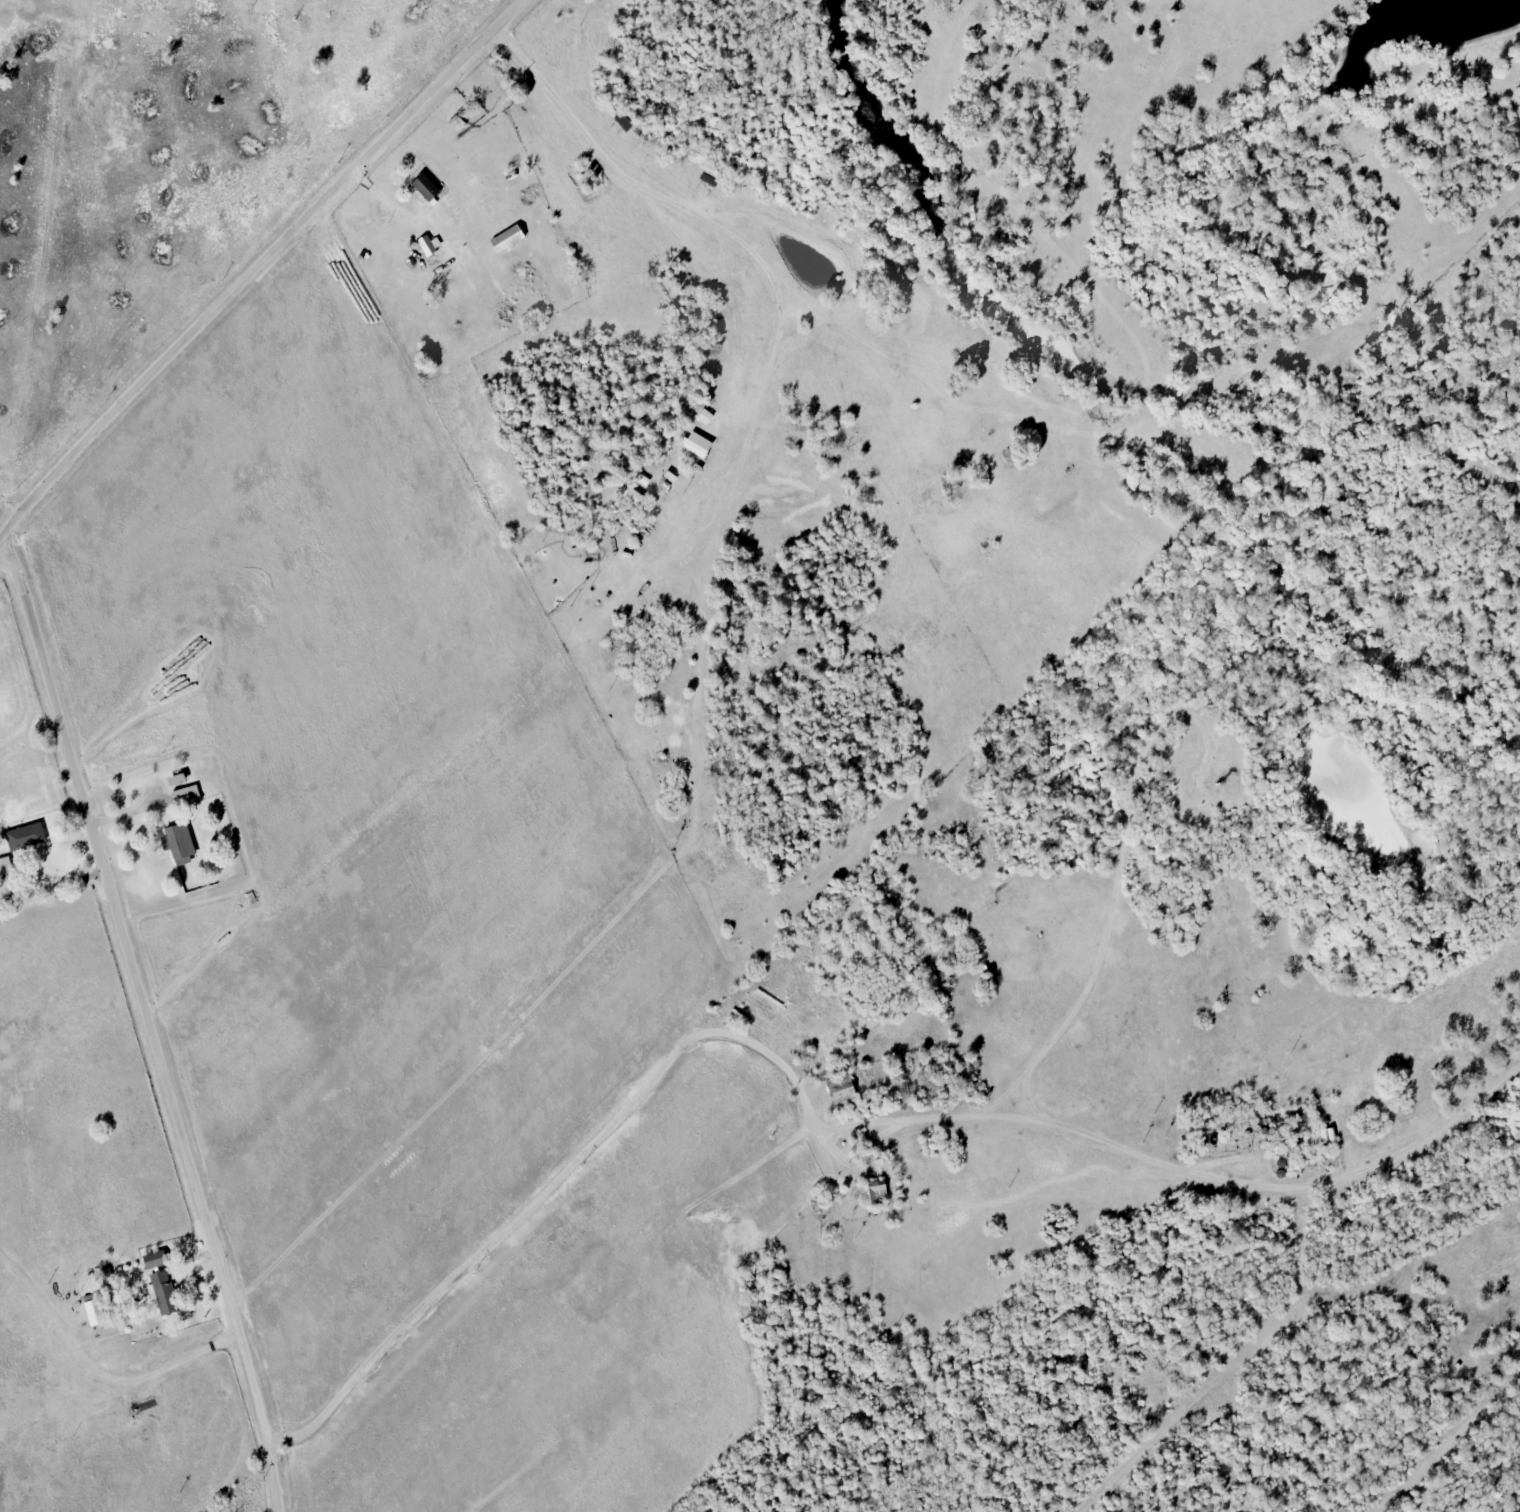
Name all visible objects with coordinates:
building: (422, 187)
building: (505, 238)
building: (428, 242)
road: (258, 267)
building: (692, 448)
building: (189, 796)
road: (134, 812)
building: (27, 836)
building: (181, 841)
building: (6, 866)
road: (53, 886)
road: (1113, 889)
road: (153, 1021)
building: (839, 1090)
road: (1039, 1122)
road: (573, 1161)
building: (873, 1192)
building: (158, 1261)
building: (165, 1294)
building: (96, 1309)

